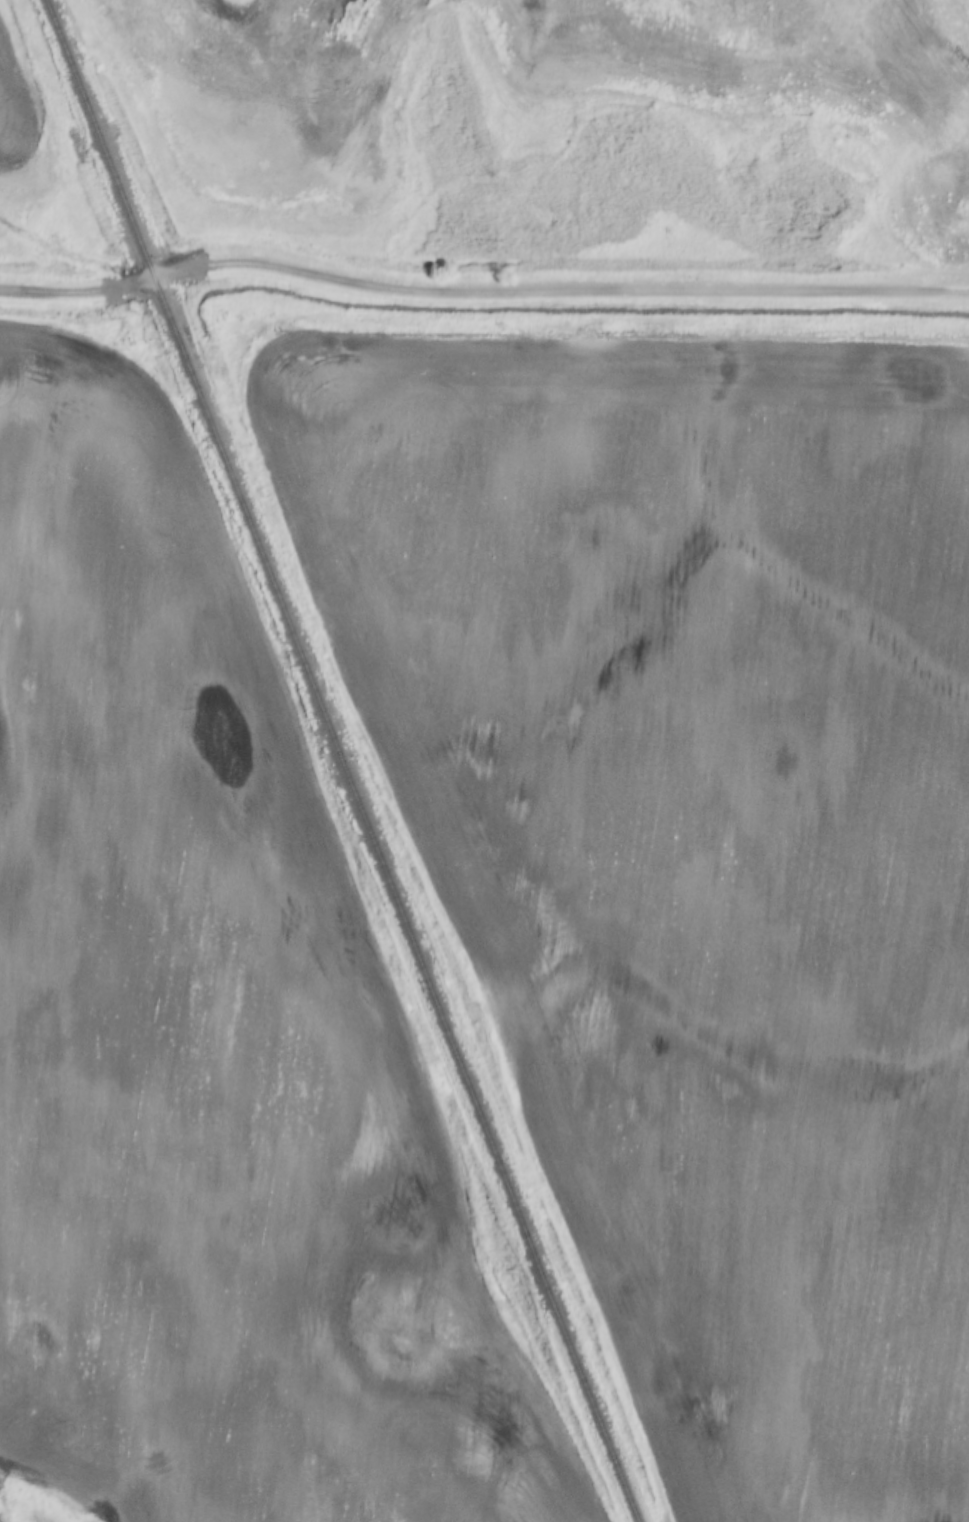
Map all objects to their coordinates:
road: (480, 288)
railway: (341, 760)

